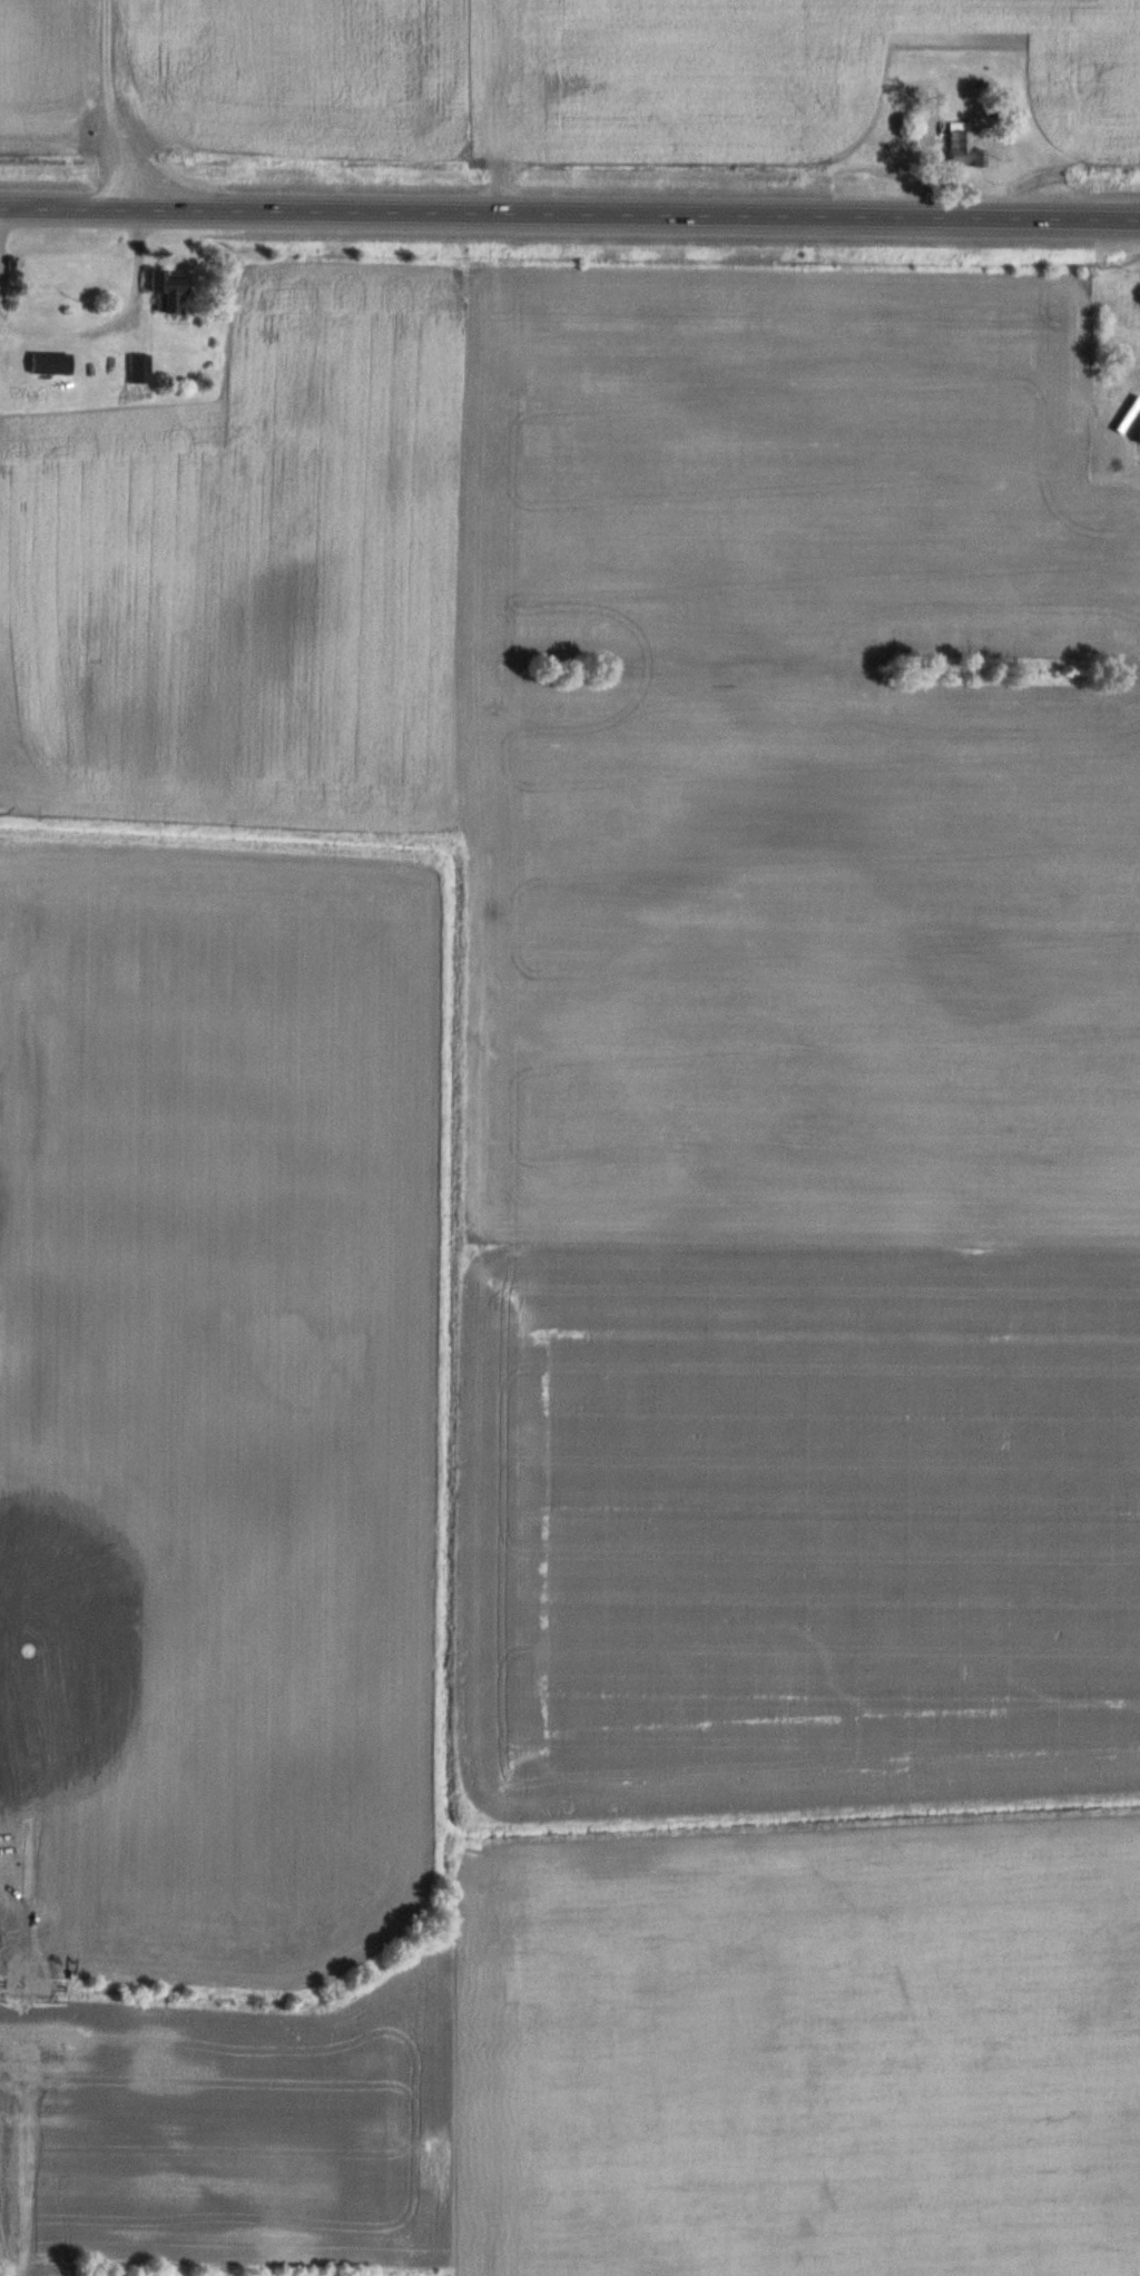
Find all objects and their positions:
building: (959, 148)
road: (570, 217)
building: (160, 290)
building: (1119, 361)
building: (46, 362)
building: (136, 367)
building: (1137, 429)
wind turbine: (29, 1650)

